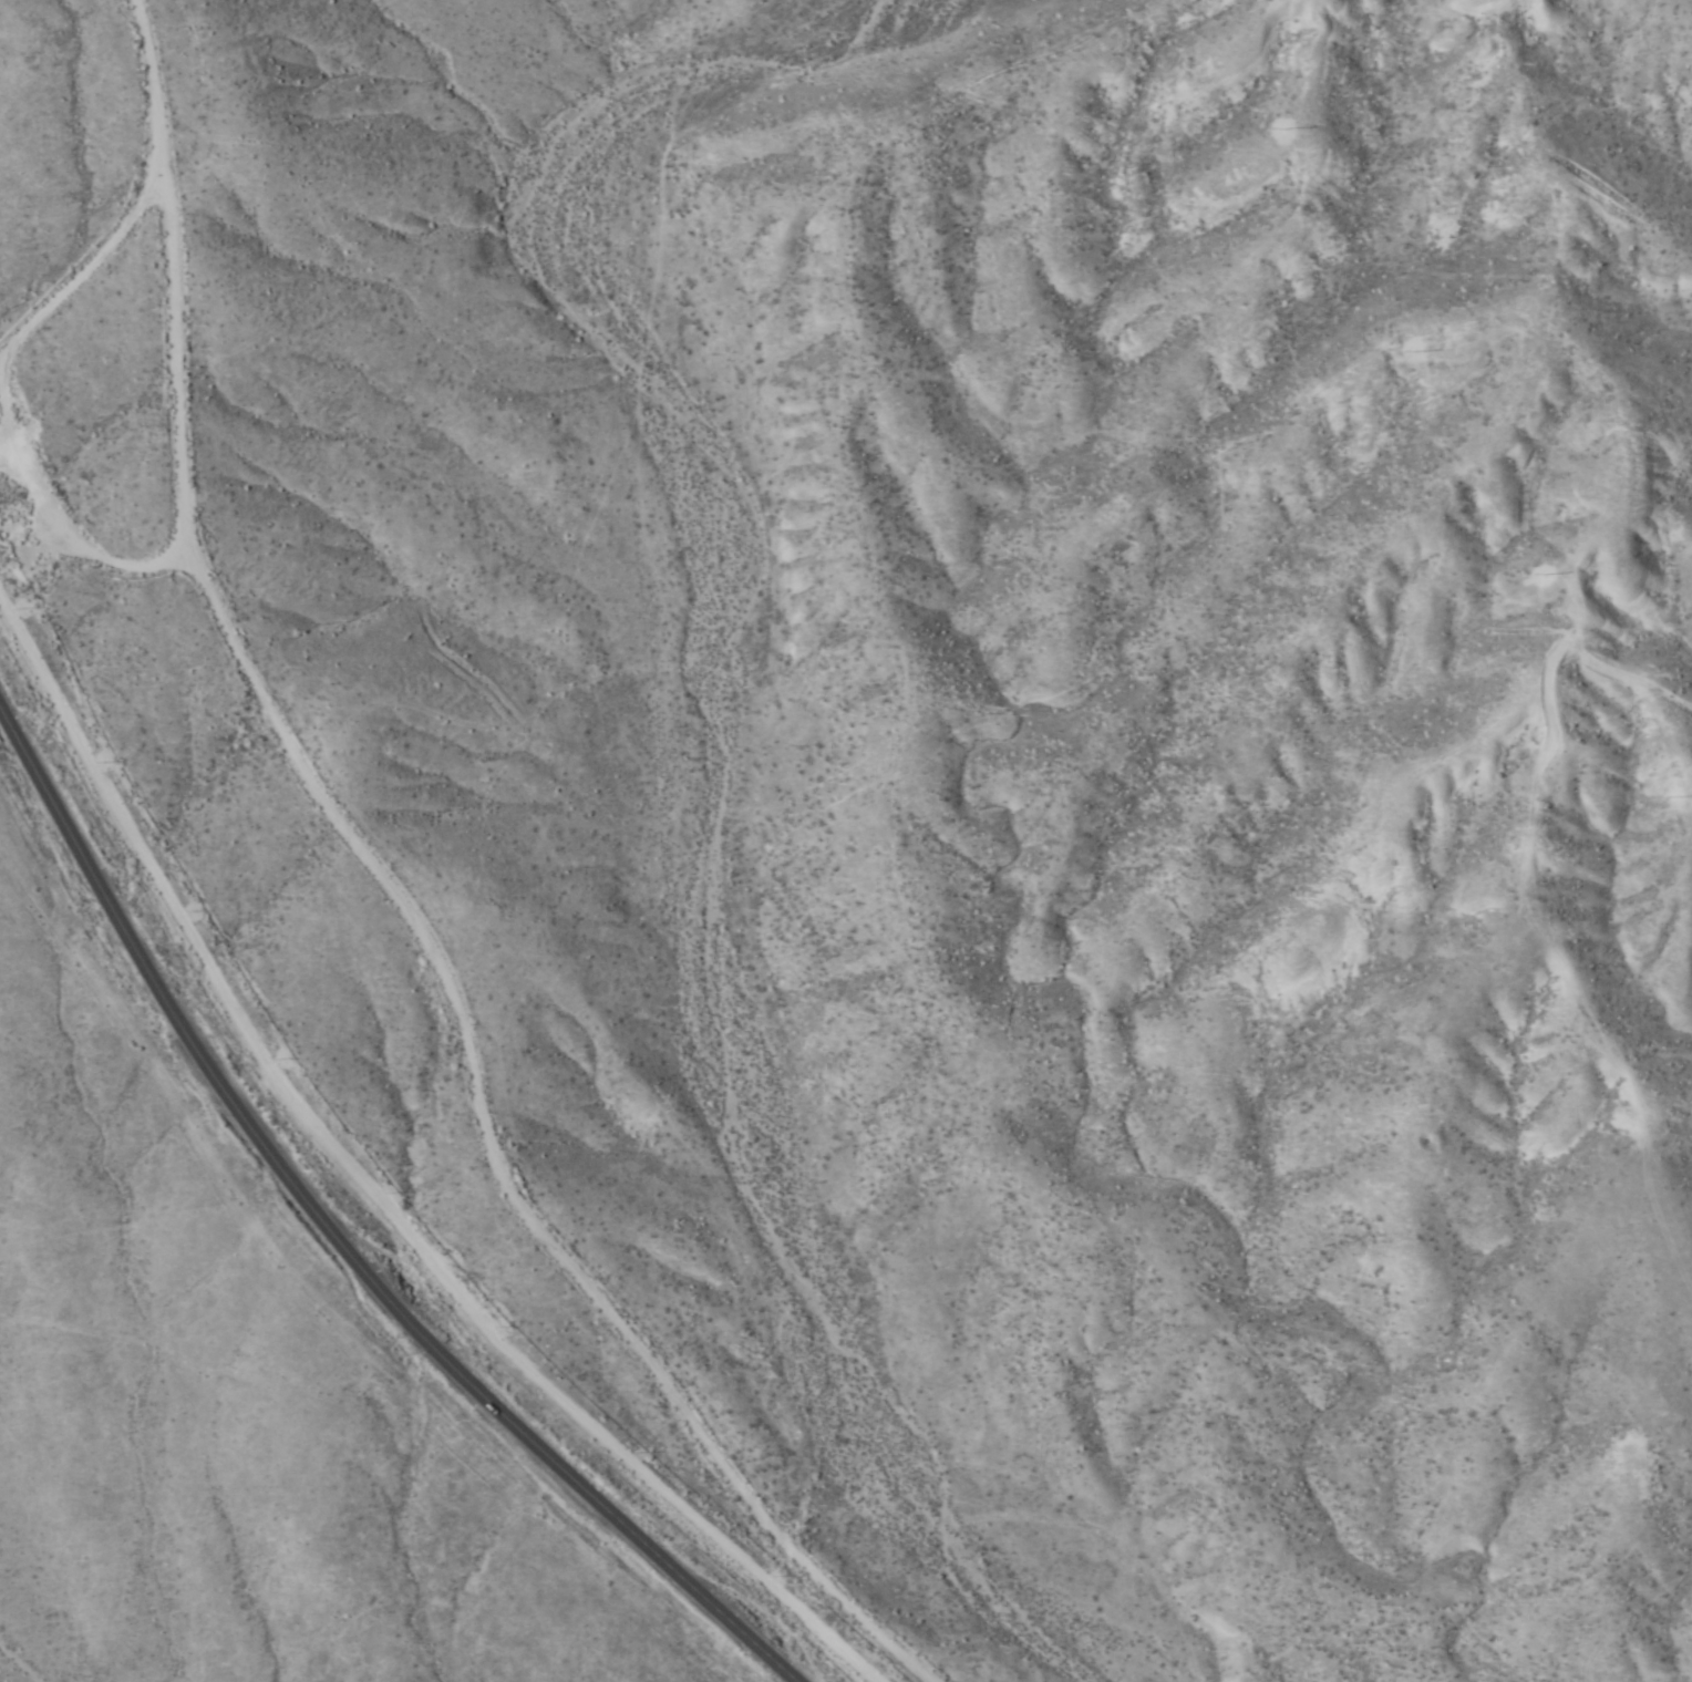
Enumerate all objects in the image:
road: (370, 1213)

